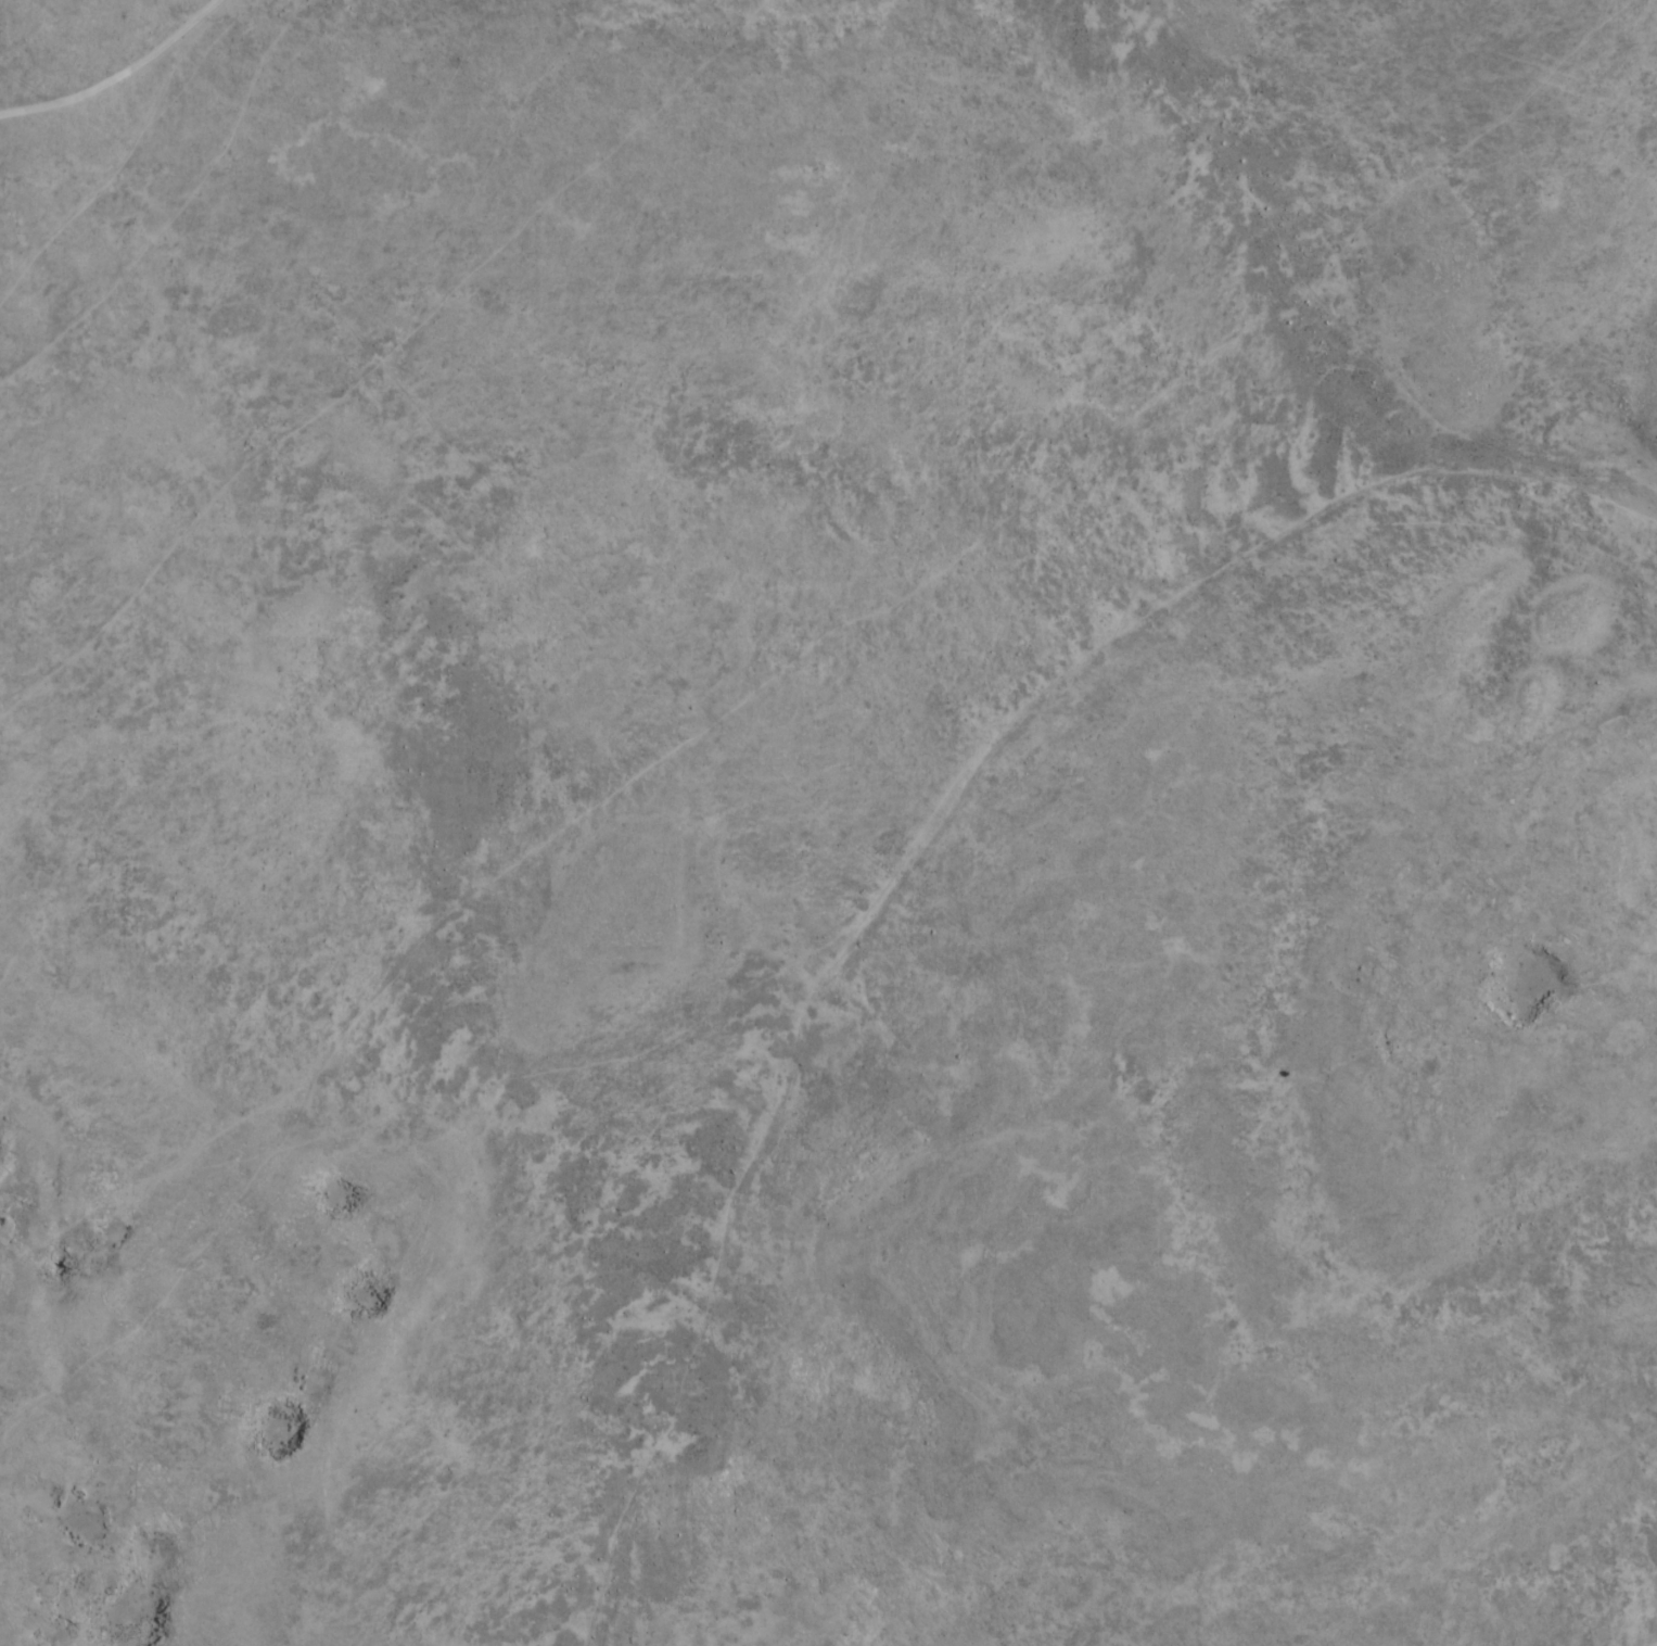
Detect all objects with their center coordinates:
road: (118, 77)

